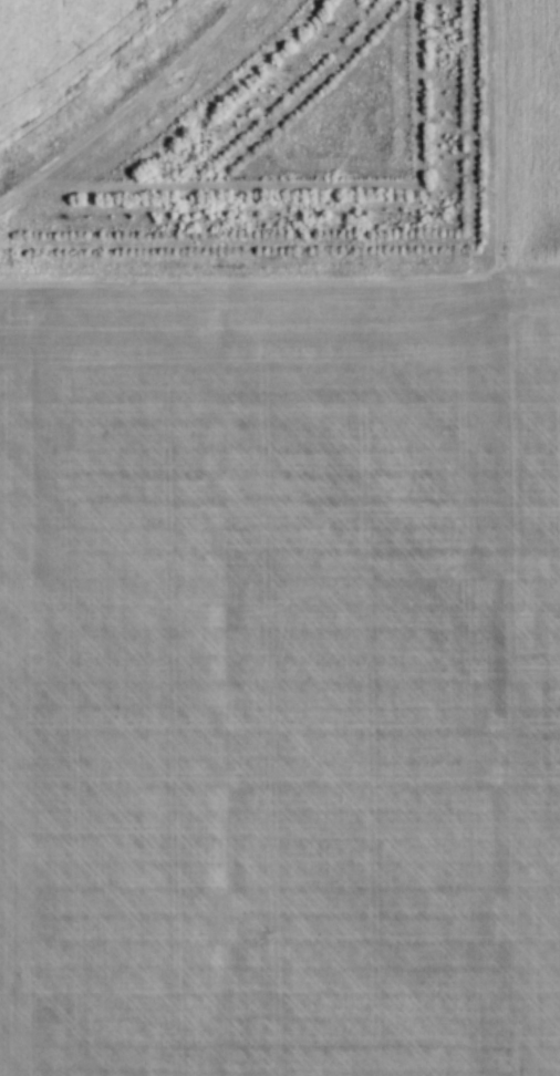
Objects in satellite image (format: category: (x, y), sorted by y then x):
crop: (79, 63)
crop: (289, 649)

